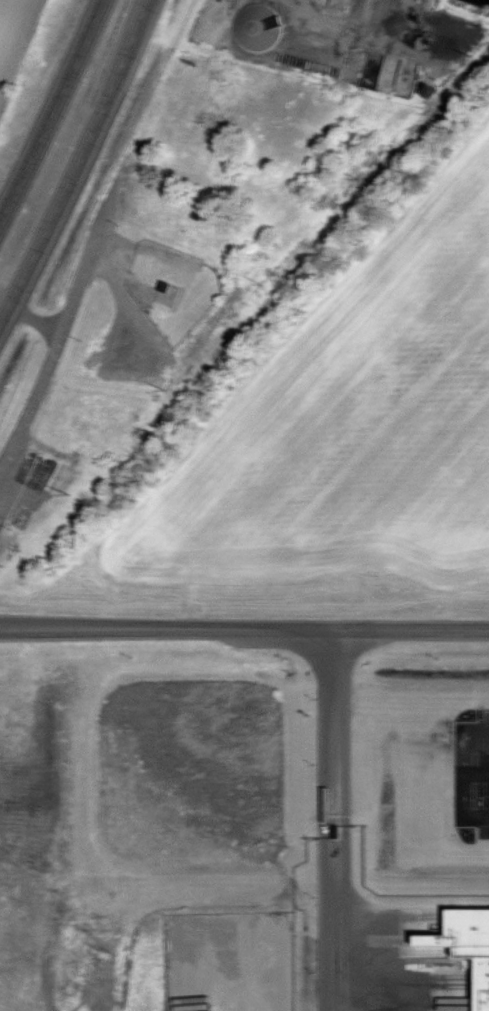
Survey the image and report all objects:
building: (257, 32)
storage tank: (257, 32)
road: (53, 112)
road: (78, 163)
road: (130, 314)
road: (30, 317)
road: (62, 331)
road: (244, 628)
road: (466, 740)
parking lot: (475, 773)
road: (466, 793)
road: (334, 820)
building: (463, 946)
road: (239, 996)

